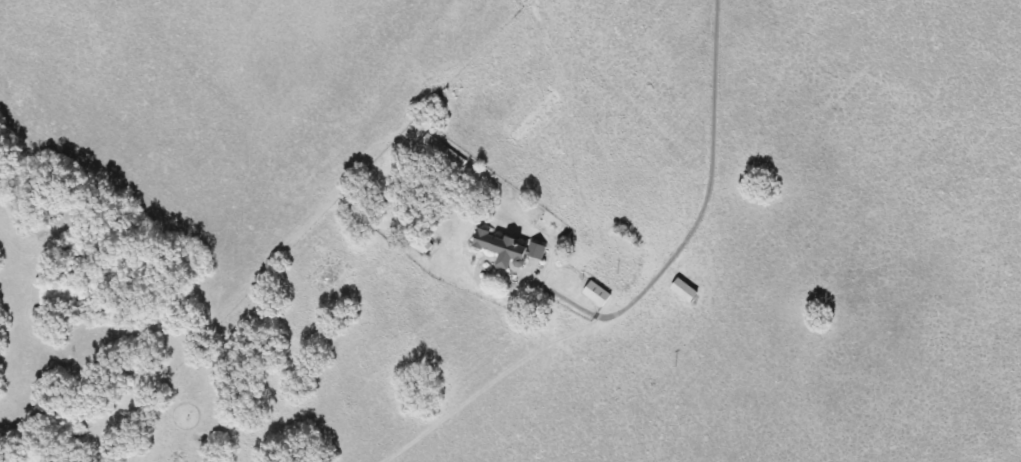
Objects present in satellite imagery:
road: (700, 210)
building: (617, 242)
building: (502, 249)
building: (679, 290)
building: (591, 293)

